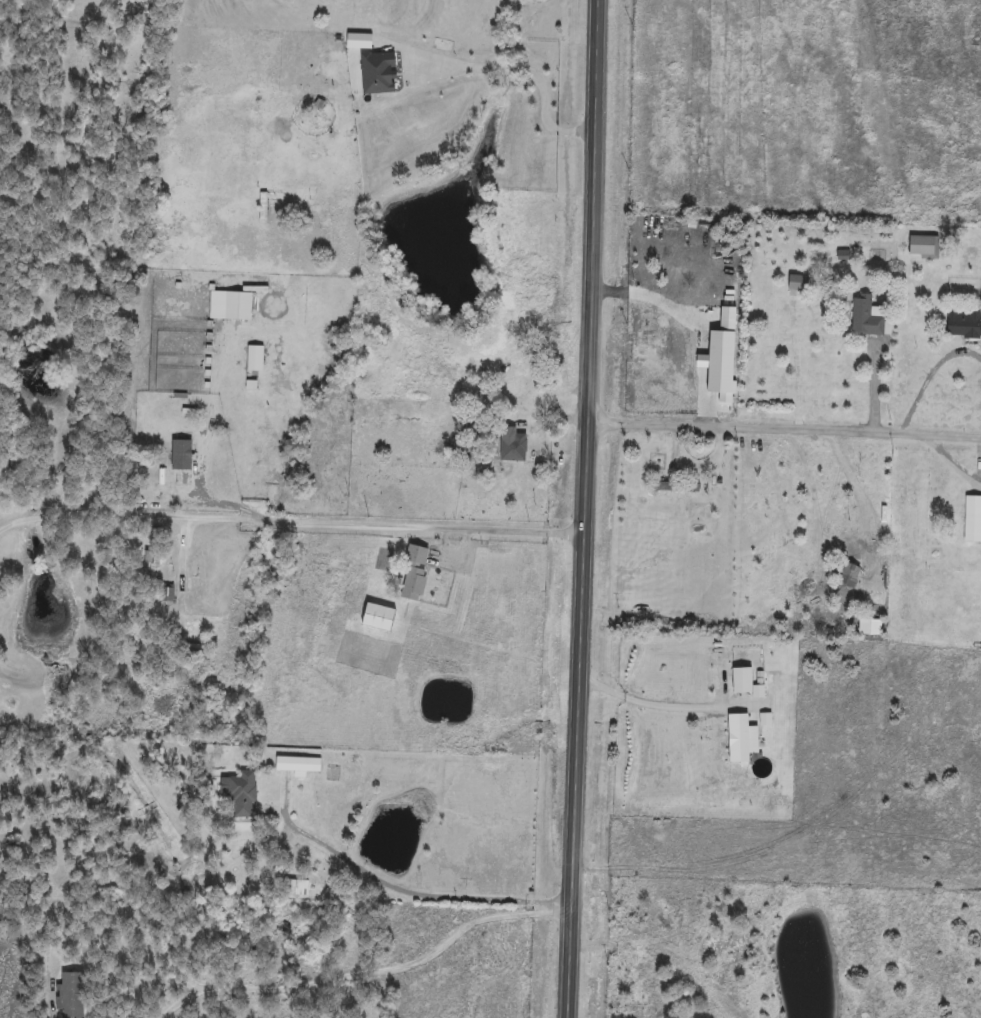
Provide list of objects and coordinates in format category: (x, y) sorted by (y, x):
building: (359, 41)
road: (523, 69)
building: (378, 73)
building: (924, 246)
building: (699, 261)
building: (798, 282)
road: (661, 301)
building: (229, 305)
building: (866, 316)
building: (964, 321)
building: (254, 358)
road: (700, 359)
road: (929, 373)
road: (873, 382)
road: (698, 393)
road: (209, 423)
road: (782, 425)
building: (513, 448)
road: (949, 458)
building: (164, 459)
building: (669, 488)
road: (207, 505)
road: (581, 509)
building: (675, 515)
road: (288, 519)
building: (973, 524)
building: (415, 573)
building: (849, 576)
building: (164, 594)
building: (875, 597)
building: (379, 617)
building: (195, 654)
road: (643, 700)
building: (296, 762)
building: (241, 793)
building: (298, 888)
road: (395, 888)
road: (86, 925)
building: (495, 948)
road: (367, 973)
building: (71, 995)
road: (53, 1016)

